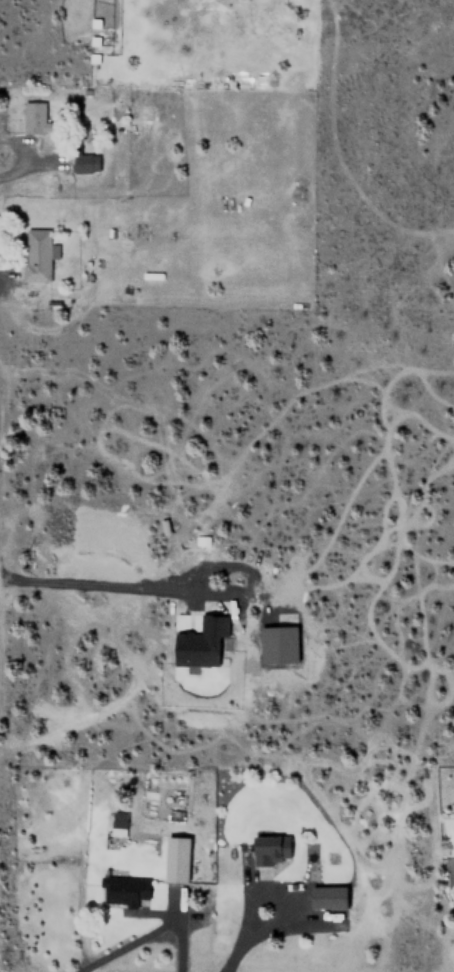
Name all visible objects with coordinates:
building: (35, 117)
building: (85, 162)
building: (36, 254)
building: (282, 643)
building: (118, 820)
building: (270, 849)
building: (175, 858)
building: (453, 859)
building: (123, 890)
building: (329, 897)

